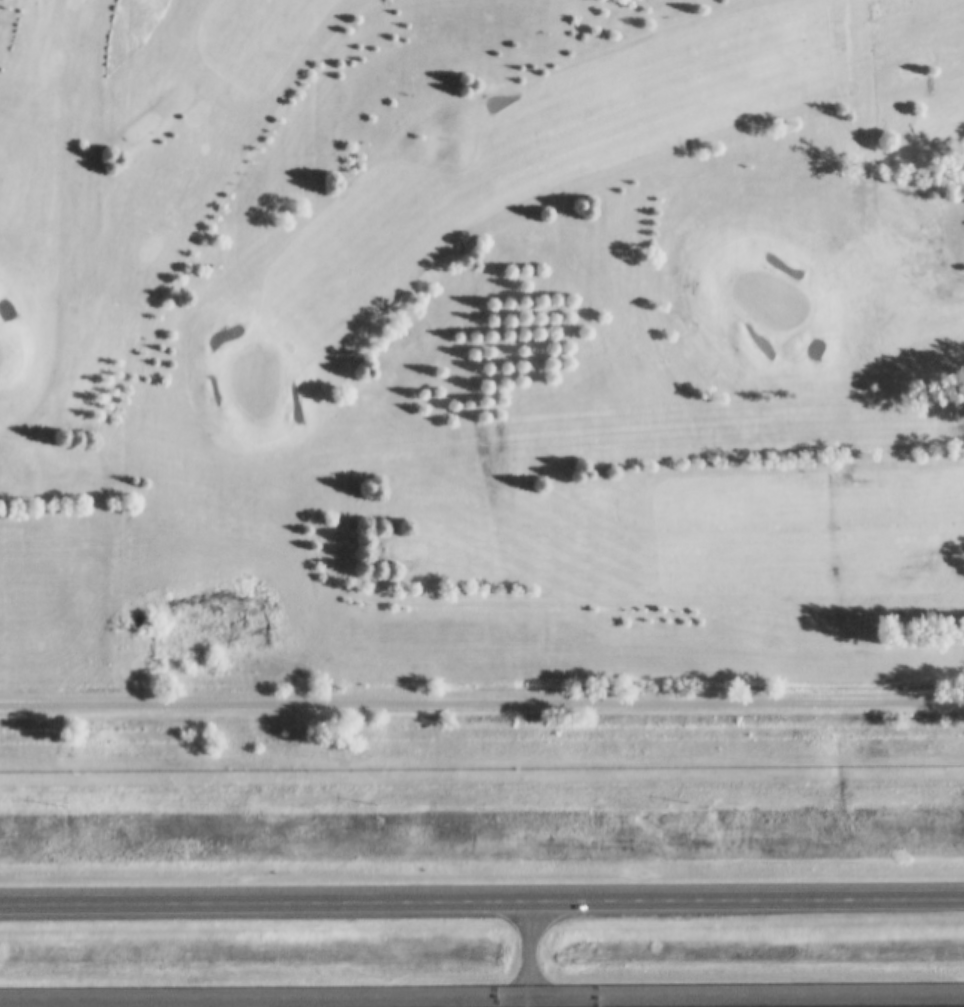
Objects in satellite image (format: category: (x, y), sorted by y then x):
park: (497, 299)
road: (482, 901)
road: (531, 946)
road: (482, 991)
road: (532, 999)

